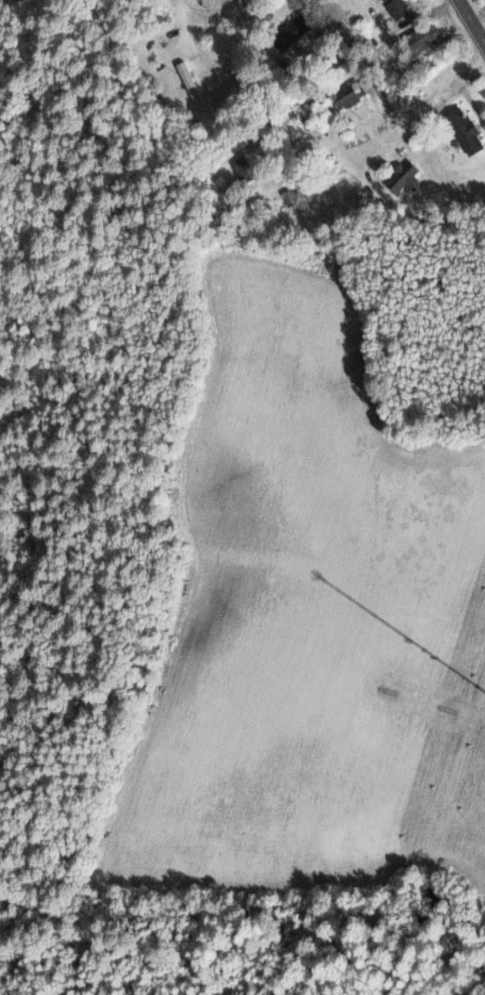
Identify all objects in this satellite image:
building: (395, 7)
road: (341, 11)
road: (209, 12)
road: (473, 19)
building: (289, 32)
building: (417, 40)
building: (187, 80)
building: (345, 95)
road: (406, 115)
building: (291, 129)
building: (462, 131)
building: (241, 168)
building: (400, 176)
building: (296, 198)

